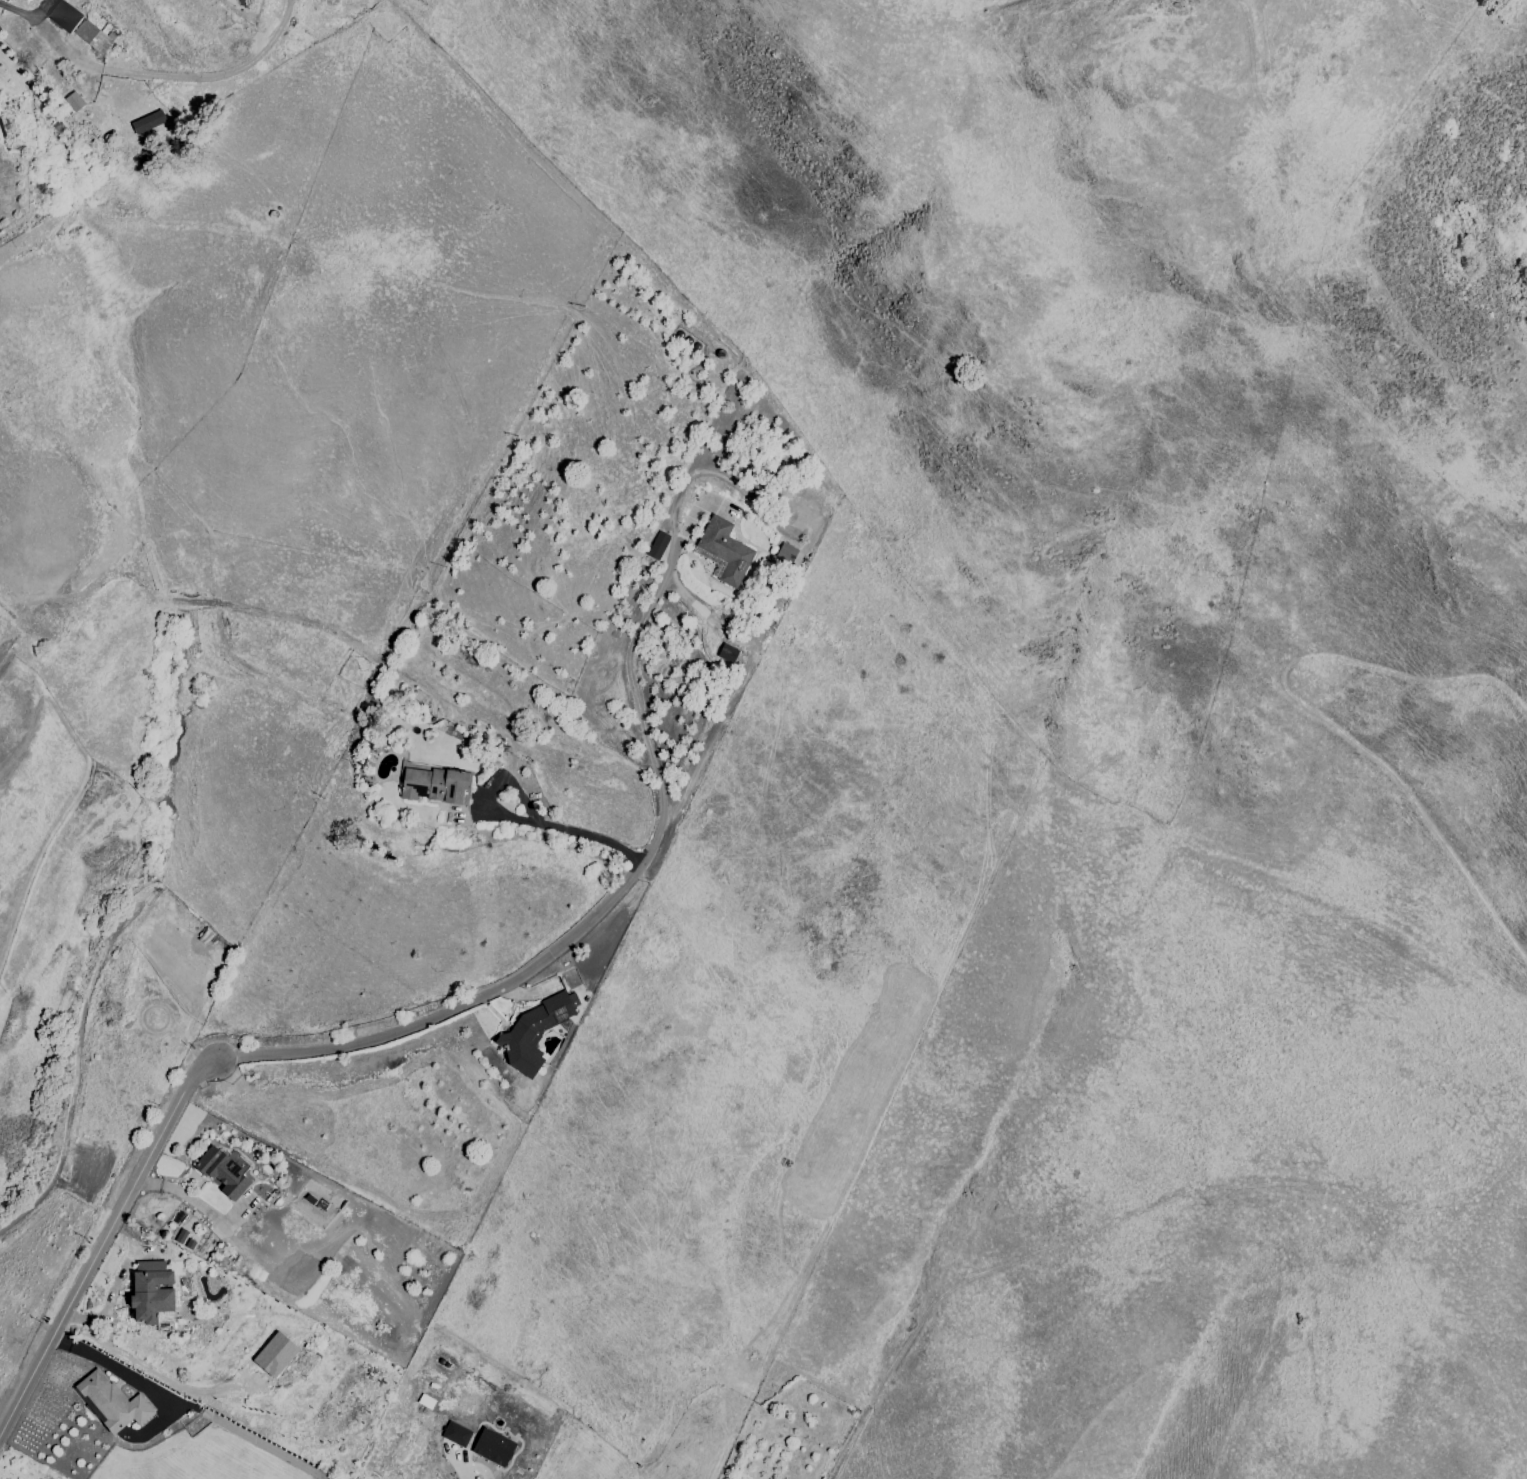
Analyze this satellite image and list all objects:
building: (63, 15)
building: (92, 35)
road: (154, 74)
building: (73, 101)
building: (147, 122)
building: (657, 545)
building: (723, 552)
building: (786, 552)
building: (727, 652)
road: (737, 684)
building: (434, 785)
road: (521, 819)
road: (404, 1026)
building: (533, 1031)
building: (224, 1171)
road: (198, 1203)
building: (184, 1239)
building: (150, 1291)
building: (274, 1354)
road: (146, 1369)
building: (111, 1402)
building: (455, 1433)
building: (493, 1446)

